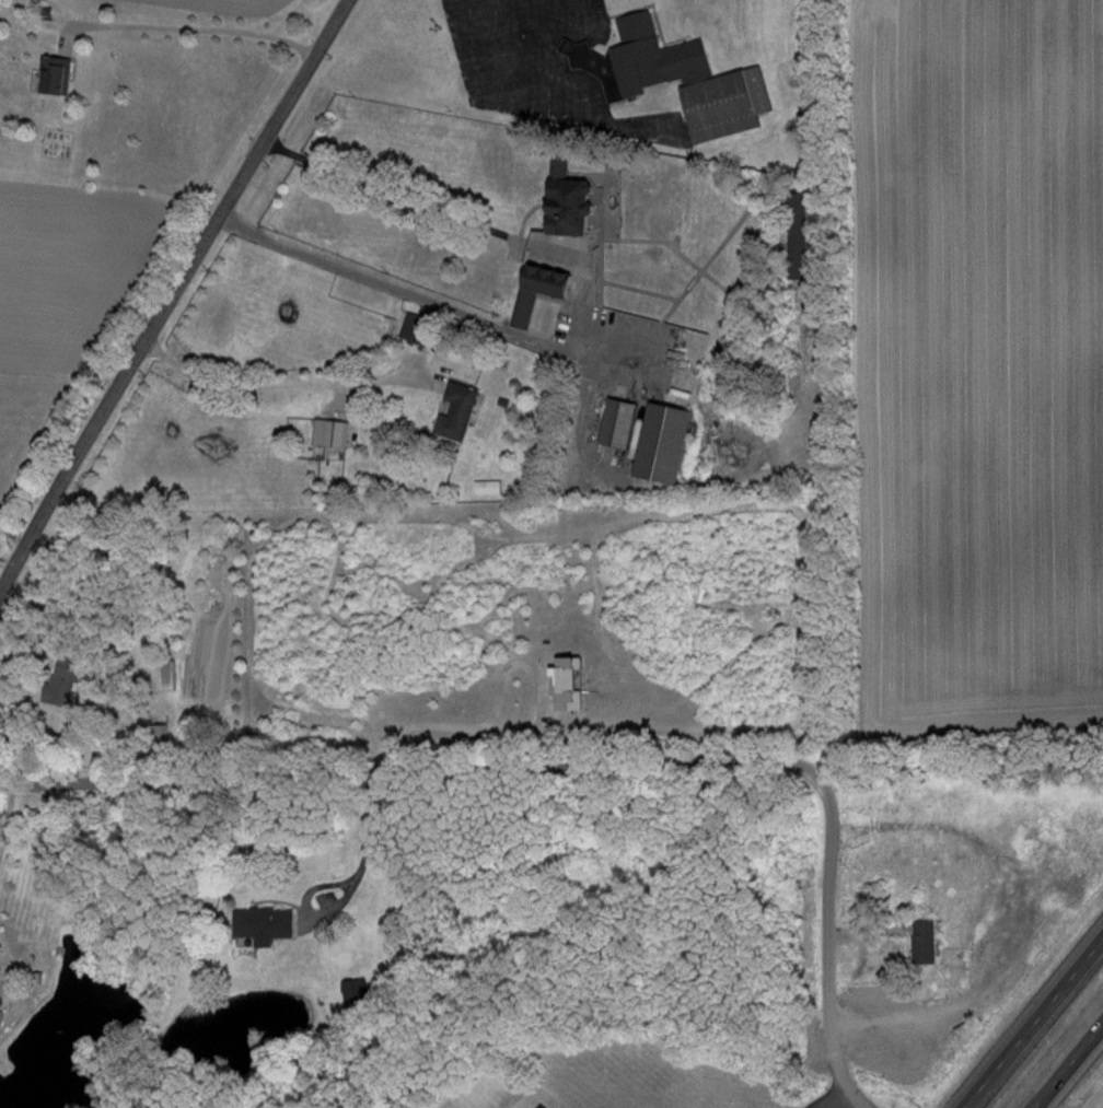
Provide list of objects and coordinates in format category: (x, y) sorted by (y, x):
road: (191, 27)
road: (534, 67)
building: (55, 73)
building: (676, 75)
road: (411, 199)
building: (571, 201)
road: (169, 289)
building: (543, 289)
road: (430, 299)
building: (417, 327)
road: (298, 378)
building: (456, 410)
building: (330, 431)
building: (650, 436)
building: (164, 675)
building: (65, 679)
building: (569, 683)
road: (510, 728)
road: (560, 759)
road: (7, 812)
road: (350, 887)
building: (264, 922)
road: (862, 925)
building: (924, 940)
building: (1, 1015)
road: (1033, 1023)
road: (1068, 1065)
road: (829, 1086)

